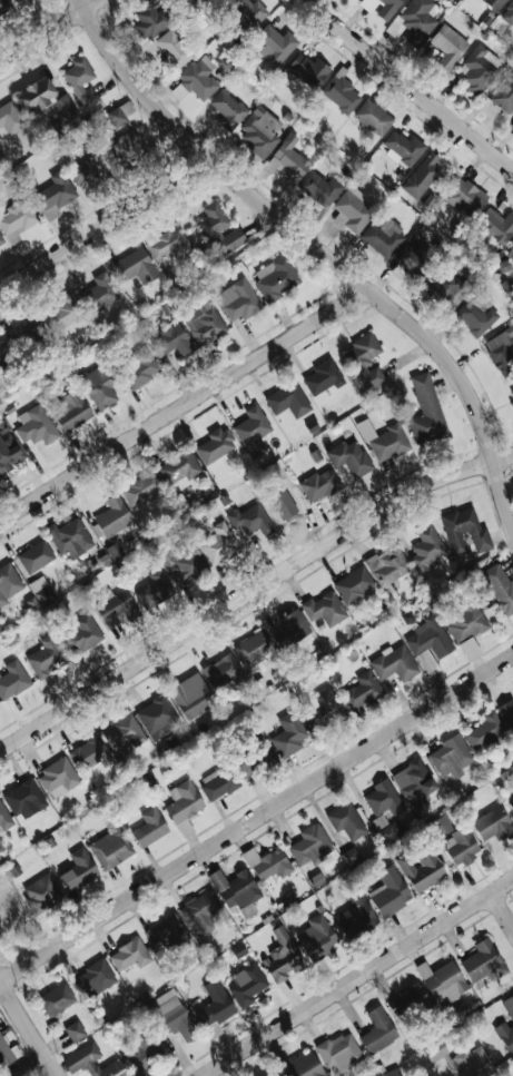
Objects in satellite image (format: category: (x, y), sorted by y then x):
building: (18, 0)
building: (494, 3)
building: (388, 9)
building: (249, 11)
building: (507, 13)
building: (151, 19)
building: (417, 20)
road: (49, 31)
building: (275, 45)
building: (448, 46)
building: (175, 50)
building: (308, 69)
building: (477, 69)
building: (196, 79)
building: (81, 81)
road: (410, 86)
building: (341, 93)
building: (504, 93)
building: (36, 96)
building: (228, 108)
building: (63, 112)
building: (120, 113)
building: (11, 118)
building: (374, 118)
building: (512, 126)
building: (260, 131)
building: (127, 146)
building: (403, 147)
building: (288, 160)
building: (89, 166)
building: (422, 176)
building: (320, 188)
building: (55, 195)
building: (464, 197)
building: (352, 210)
building: (17, 219)
road: (106, 226)
building: (496, 226)
building: (219, 230)
building: (383, 237)
building: (1, 240)
building: (170, 244)
road: (316, 245)
building: (510, 250)
building: (414, 260)
building: (136, 266)
building: (276, 278)
building: (447, 286)
building: (102, 292)
building: (238, 300)
building: (67, 310)
building: (475, 317)
building: (204, 322)
building: (27, 333)
building: (171, 342)
building: (501, 352)
building: (3, 354)
building: (366, 359)
building: (140, 366)
building: (324, 377)
building: (101, 386)
building: (512, 394)
building: (288, 399)
building: (512, 404)
road: (184, 405)
building: (426, 409)
building: (72, 411)
building: (36, 426)
building: (253, 431)
building: (384, 441)
building: (216, 445)
building: (9, 451)
building: (349, 457)
building: (180, 470)
building: (319, 484)
building: (141, 488)
building: (287, 504)
building: (114, 516)
building: (251, 520)
building: (464, 531)
building: (71, 536)
building: (218, 544)
building: (426, 549)
building: (115, 551)
building: (36, 555)
building: (186, 564)
building: (387, 565)
building: (8, 582)
building: (354, 584)
building: (499, 586)
building: (155, 589)
building: (41, 590)
road: (250, 593)
building: (115, 606)
building: (324, 609)
building: (464, 619)
building: (295, 624)
building: (83, 633)
building: (428, 643)
building: (254, 648)
building: (470, 648)
building: (46, 657)
building: (394, 663)
building: (221, 672)
building: (12, 680)
building: (361, 690)
building: (191, 695)
building: (325, 709)
building: (507, 712)
building: (157, 717)
building: (485, 731)
building: (122, 733)
building: (288, 734)
building: (263, 750)
building: (88, 753)
building: (451, 757)
building: (247, 766)
building: (58, 777)
building: (414, 780)
building: (218, 782)
building: (23, 796)
building: (383, 798)
building: (182, 801)
building: (511, 802)
building: (4, 817)
road: (256, 819)
building: (345, 820)
building: (492, 822)
building: (441, 825)
building: (149, 827)
building: (310, 845)
building: (461, 846)
building: (111, 848)
building: (351, 856)
building: (267, 862)
building: (78, 869)
building: (422, 869)
building: (236, 890)
building: (389, 891)
building: (41, 892)
road: (503, 909)
building: (199, 911)
building: (356, 916)
building: (168, 930)
building: (316, 937)
building: (130, 954)
building: (282, 956)
building: (483, 961)
building: (93, 978)
road: (357, 978)
building: (442, 981)
building: (246, 983)
building: (57, 998)
building: (407, 1001)
building: (214, 1007)
building: (506, 1025)
road: (29, 1026)
building: (159, 1029)
building: (75, 1030)
building: (377, 1030)
building: (339, 1052)
building: (4, 1053)
building: (461, 1059)
building: (91, 1062)
building: (304, 1065)
building: (392, 1072)

